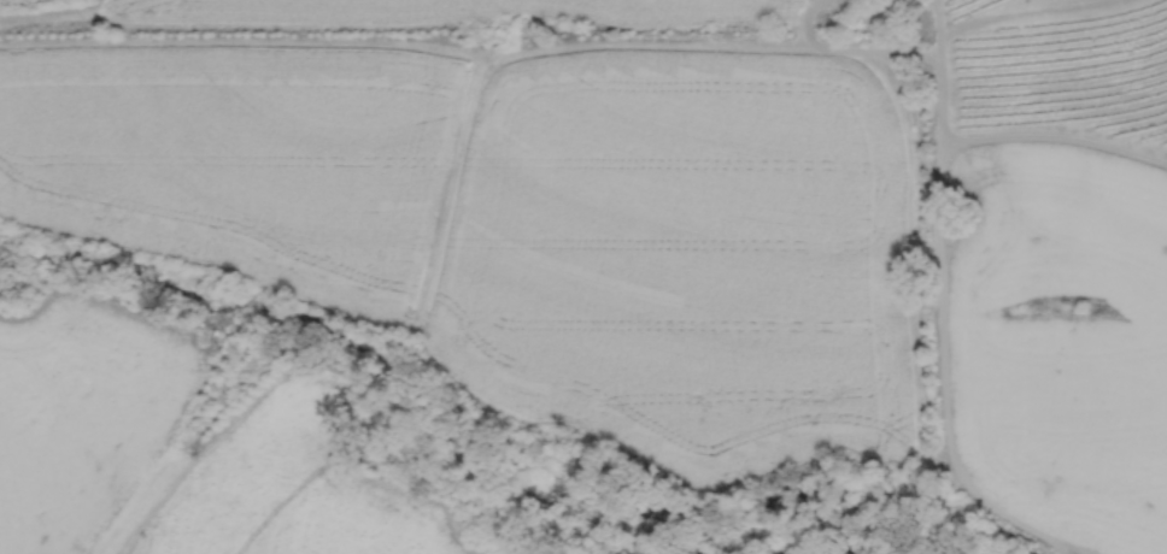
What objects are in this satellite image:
theme park: (1042, 276)

